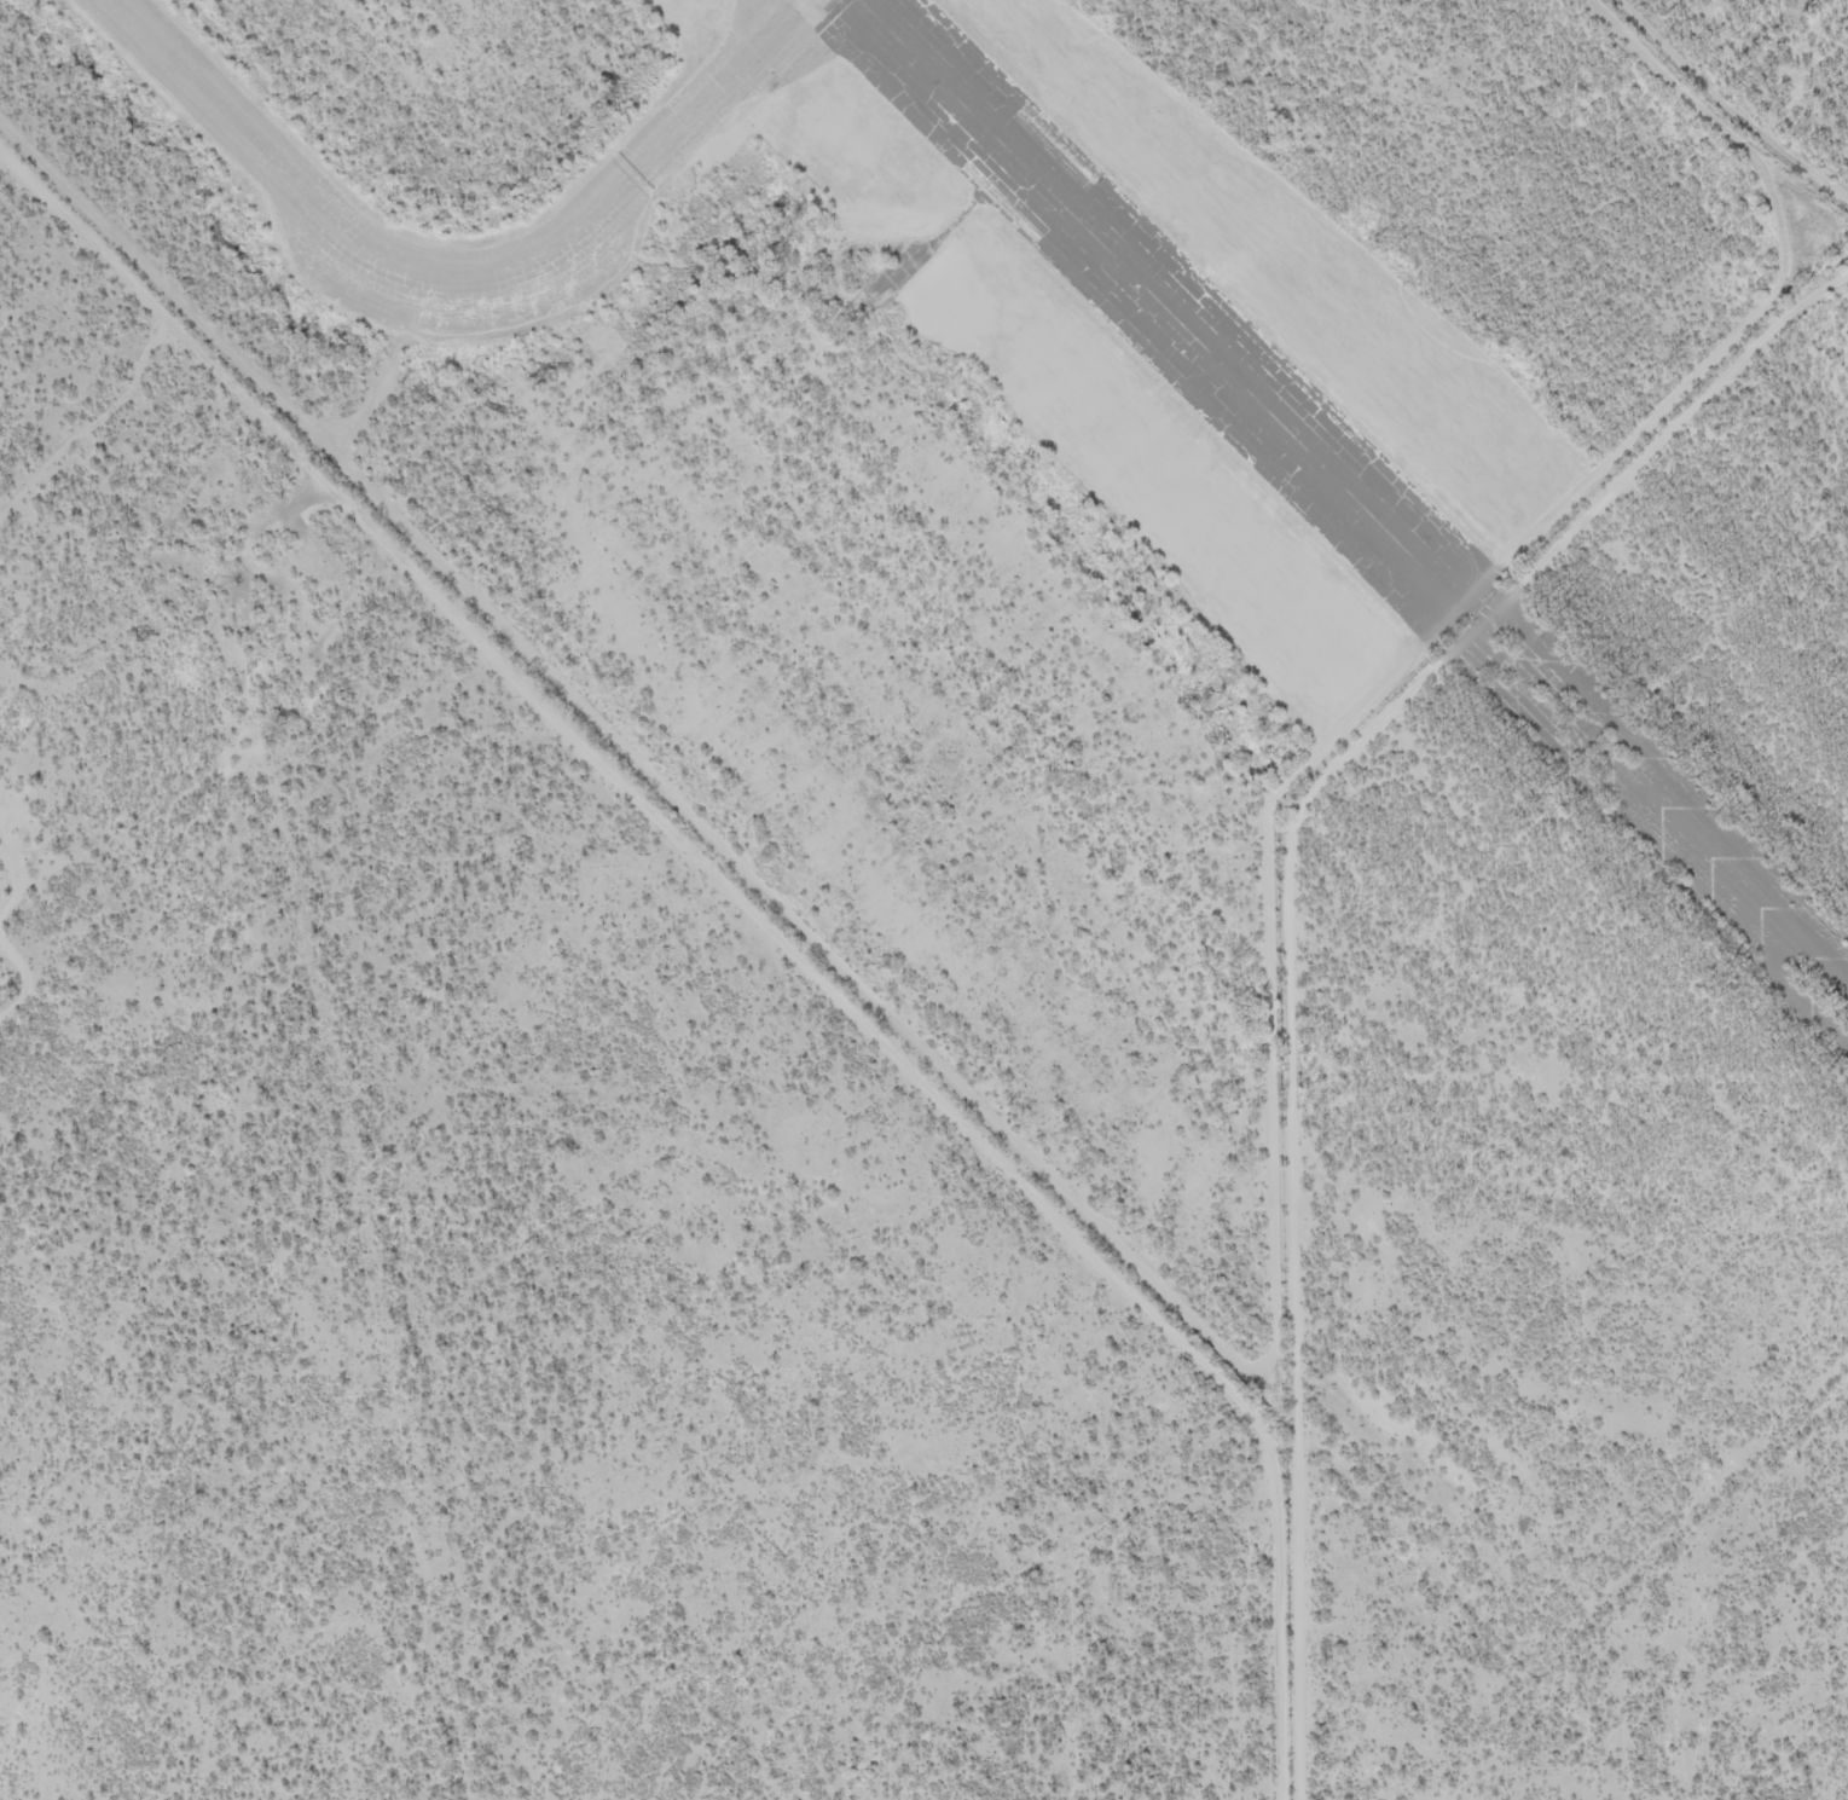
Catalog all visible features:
airport runway: (857, 1)
airport taxiway: (465, 278)
airport: (974, 442)

